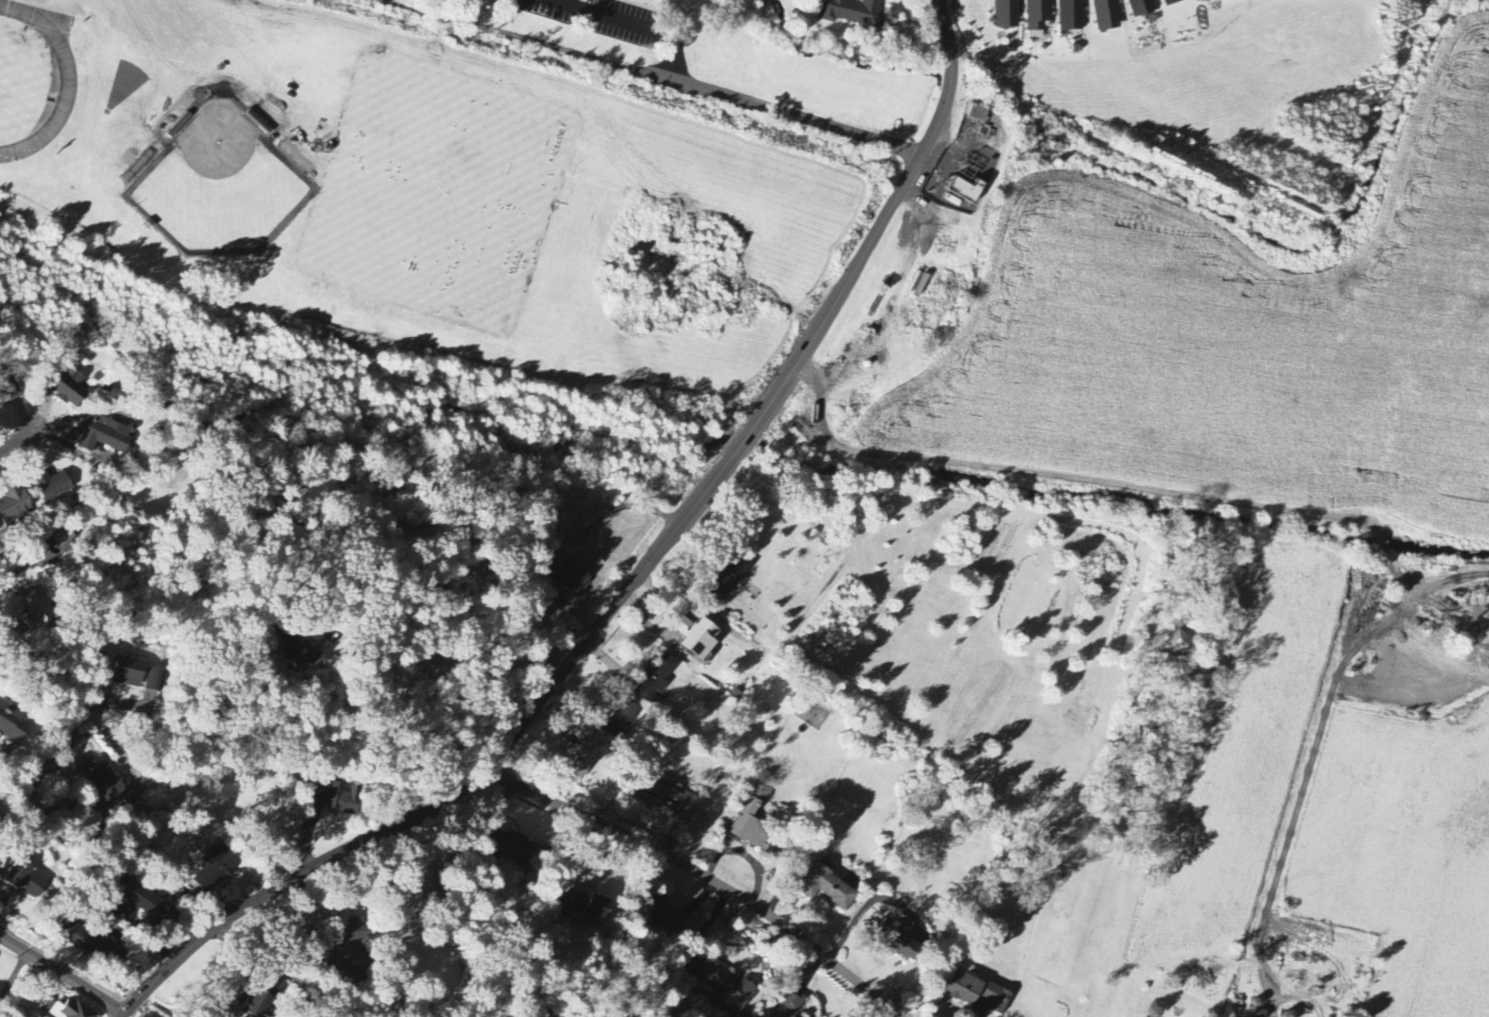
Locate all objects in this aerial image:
building: (1197, 0)
building: (1174, 2)
building: (1141, 8)
building: (855, 13)
building: (1006, 14)
building: (1071, 16)
building: (1106, 16)
building: (1037, 18)
track: (57, 78)
road: (718, 91)
building: (978, 113)
park: (220, 185)
building: (967, 191)
road: (870, 245)
building: (69, 389)
building: (10, 392)
road: (23, 431)
building: (103, 435)
building: (52, 486)
road: (1138, 488)
building: (14, 508)
building: (63, 541)
road: (573, 542)
building: (729, 578)
building: (573, 580)
road: (462, 605)
building: (39, 609)
building: (698, 638)
building: (1181, 642)
building: (302, 652)
building: (128, 672)
building: (655, 679)
building: (154, 681)
building: (621, 720)
building: (12, 723)
road: (59, 754)
building: (582, 763)
road: (465, 784)
building: (110, 786)
building: (320, 792)
road: (1302, 793)
building: (345, 799)
building: (668, 801)
building: (82, 818)
building: (751, 827)
building: (519, 851)
building: (216, 870)
road: (704, 875)
building: (27, 881)
building: (827, 889)
building: (150, 905)
building: (590, 906)
building: (660, 914)
building: (85, 941)
building: (900, 941)
building: (352, 950)
road: (291, 971)
road: (63, 975)
building: (719, 987)
building: (964, 989)
building: (997, 998)
building: (262, 1002)
building: (792, 1003)
building: (66, 1010)
road: (123, 1013)
road: (524, 1015)

